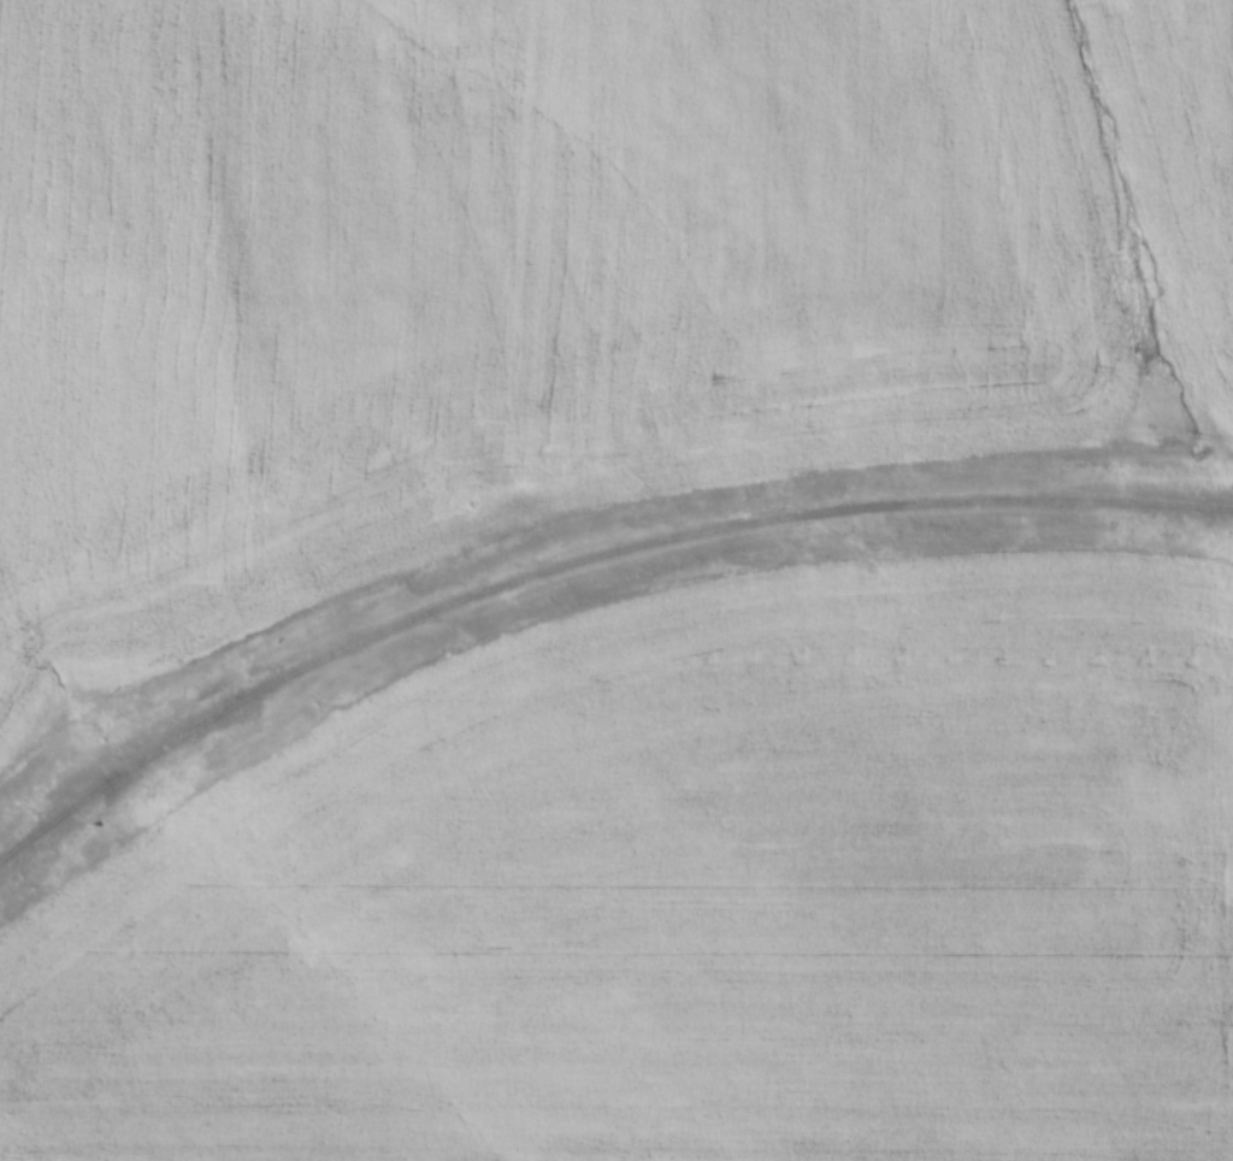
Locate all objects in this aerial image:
railway: (577, 550)

